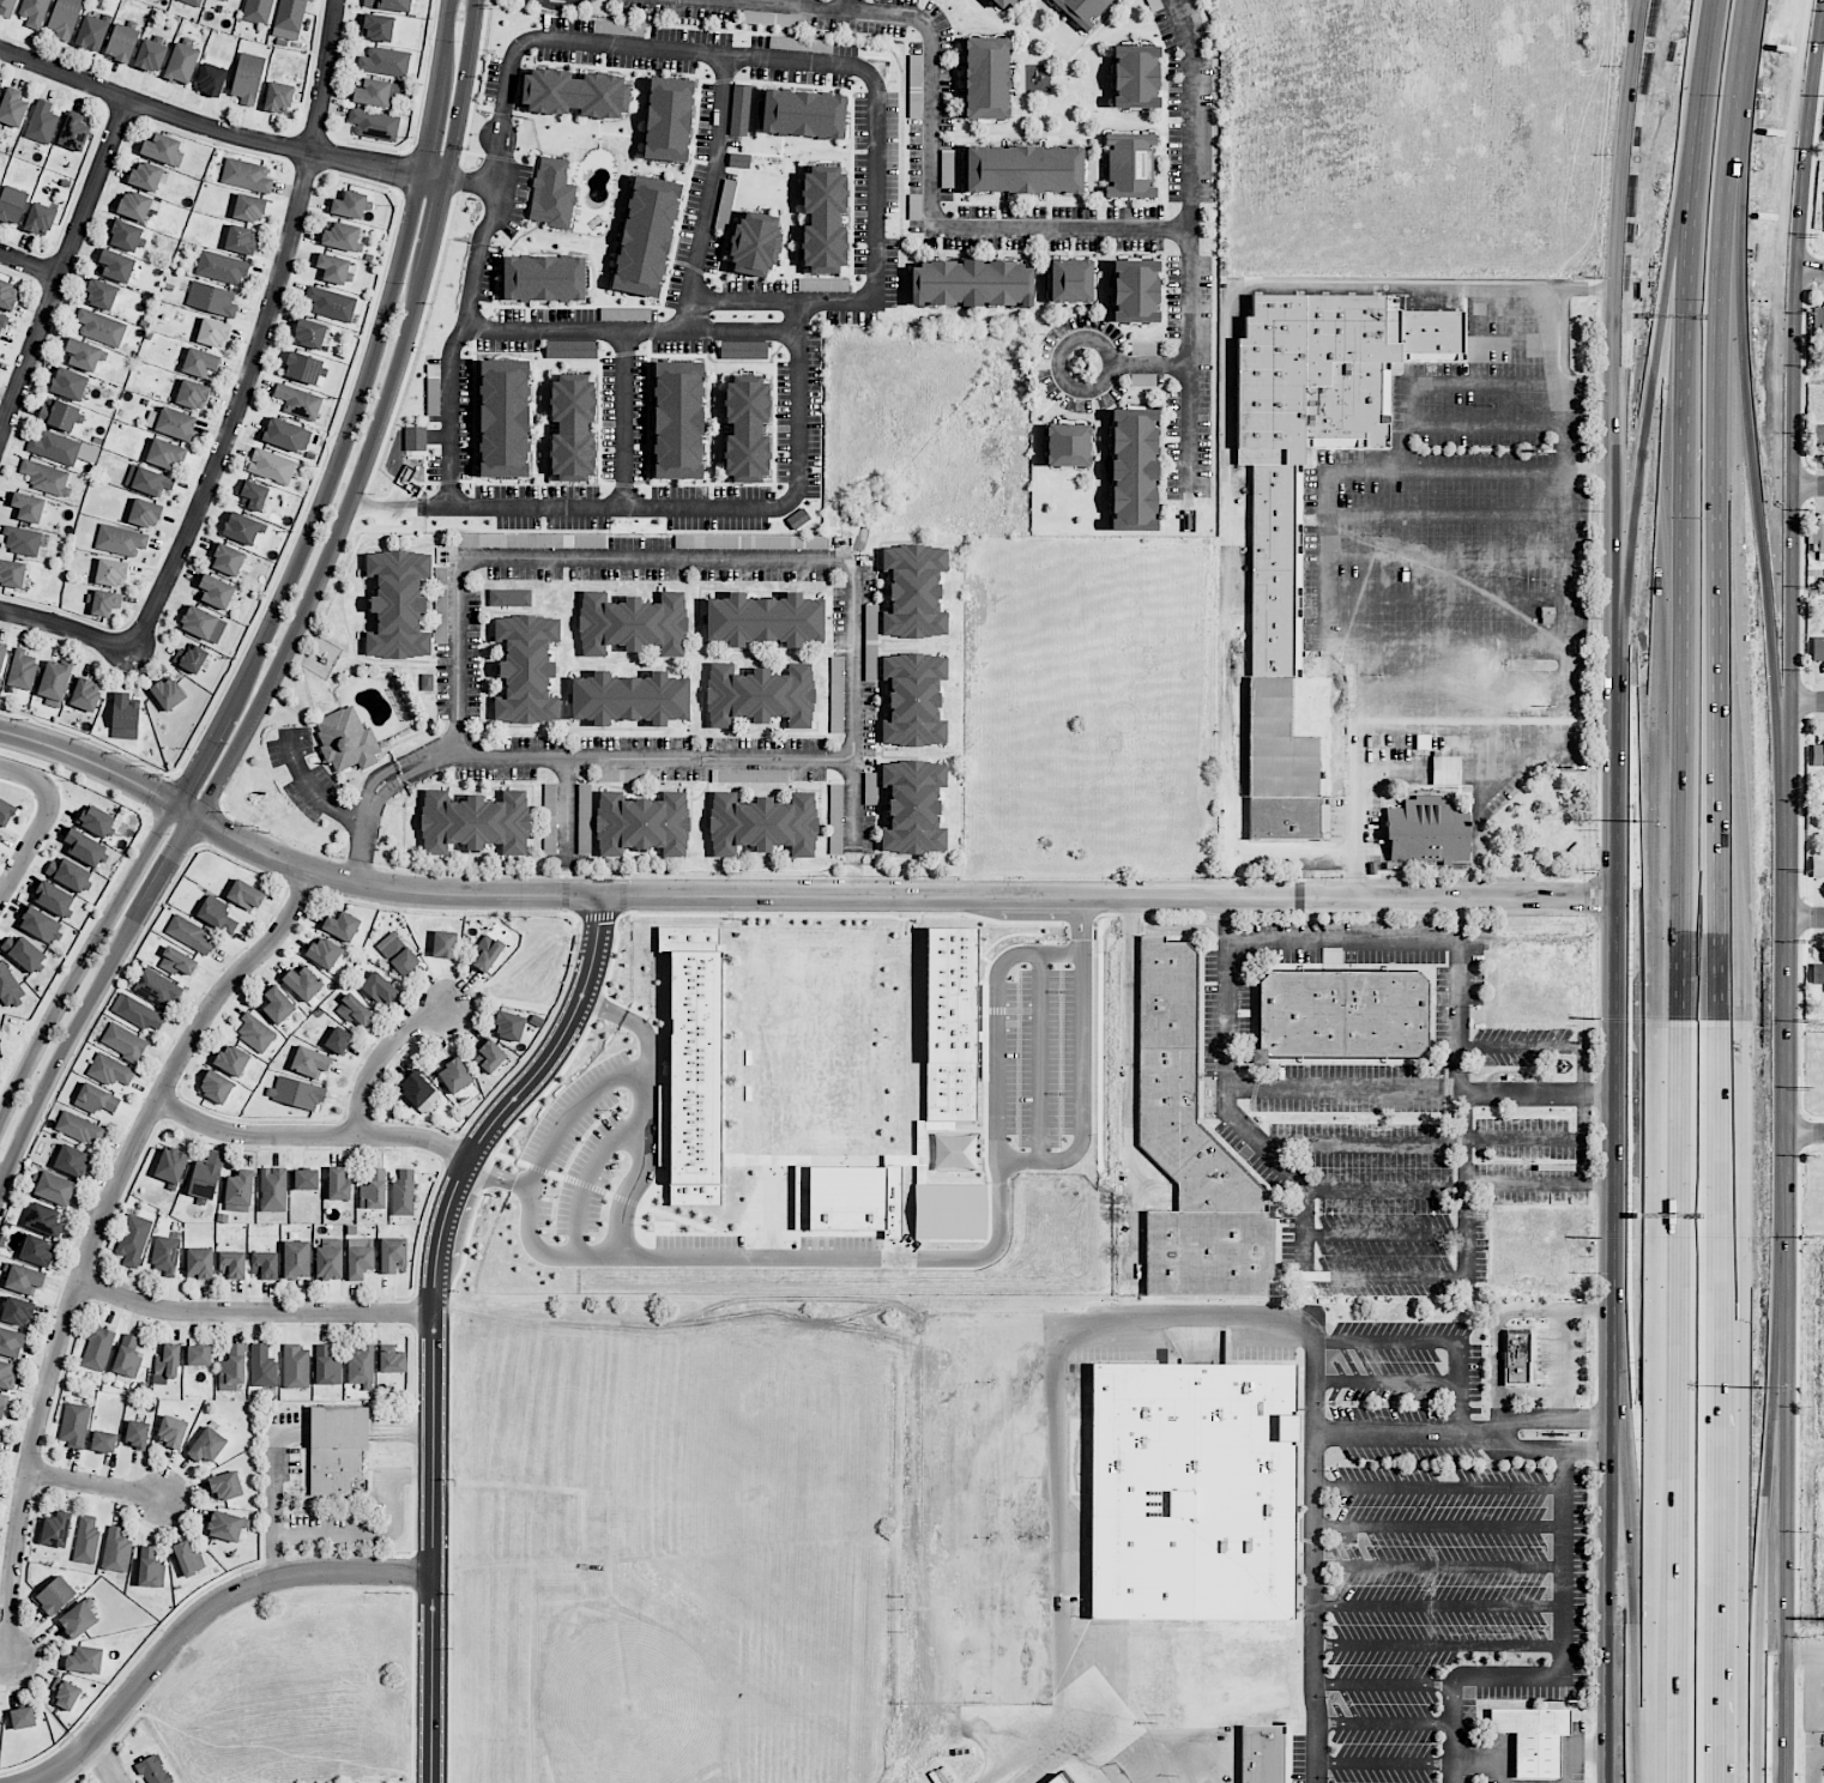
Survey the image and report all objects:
building: (193, 2)
road: (850, 4)
building: (1003, 4)
building: (388, 5)
building: (7, 6)
road: (1642, 8)
road: (1645, 8)
building: (1082, 10)
building: (256, 11)
building: (34, 12)
building: (65, 18)
building: (289, 19)
building: (378, 28)
building: (91, 32)
street lamp: (458, 41)
building: (121, 43)
road: (445, 44)
building: (150, 55)
building: (385, 61)
building: (181, 62)
building: (1135, 77)
building: (247, 78)
building: (986, 78)
building: (211, 79)
building: (914, 80)
building: (0, 85)
road: (459, 90)
building: (376, 92)
building: (575, 93)
building: (278, 97)
building: (12, 108)
building: (739, 109)
building: (803, 114)
building: (668, 119)
building: (42, 122)
building: (374, 123)
road: (206, 126)
building: (73, 132)
road: (430, 133)
building: (163, 150)
street lamp: (441, 151)
building: (738, 161)
road: (930, 164)
building: (1129, 165)
building: (1023, 169)
road: (495, 173)
building: (145, 175)
building: (246, 175)
road: (431, 179)
building: (551, 193)
road: (877, 195)
building: (12, 204)
building: (134, 205)
building: (349, 205)
building: (249, 207)
road: (488, 214)
building: (40, 219)
building: (823, 219)
road: (431, 226)
building: (125, 235)
building: (340, 236)
building: (646, 236)
building: (241, 240)
building: (755, 243)
road: (1189, 244)
road: (29, 265)
building: (116, 265)
road: (62, 266)
building: (222, 267)
building: (334, 267)
road: (1806, 271)
building: (543, 278)
building: (1070, 280)
street lamp: (404, 283)
building: (971, 283)
building: (1135, 291)
road: (1594, 291)
building: (101, 294)
building: (8, 295)
building: (211, 298)
building: (331, 303)
building: (2, 321)
building: (1818, 322)
road: (1625, 326)
building: (101, 327)
road: (579, 327)
building: (213, 333)
building: (309, 333)
road: (261, 336)
building: (1430, 336)
road: (1565, 339)
building: (572, 349)
building: (743, 350)
road: (1062, 350)
building: (84, 355)
building: (199, 362)
road: (1149, 365)
building: (304, 368)
building: (1312, 375)
building: (68, 383)
building: (192, 394)
building: (298, 401)
street lamp: (369, 403)
building: (59, 415)
road: (624, 417)
building: (503, 418)
building: (678, 419)
building: (171, 423)
building: (572, 427)
building: (747, 428)
road: (1227, 428)
building: (286, 435)
building: (1818, 435)
building: (415, 439)
building: (1068, 445)
building: (60, 447)
road: (343, 452)
building: (164, 453)
building: (271, 466)
building: (1134, 469)
road: (1342, 470)
building: (46, 478)
building: (149, 480)
road: (1802, 486)
building: (253, 496)
road: (1753, 502)
building: (28, 507)
road: (437, 507)
road: (582, 507)
road: (385, 508)
building: (145, 513)
road: (1648, 513)
road: (1685, 513)
street lamp: (326, 516)
building: (1275, 518)
building: (241, 528)
building: (1817, 537)
building: (22, 540)
building: (120, 540)
road: (326, 551)
building: (228, 560)
road: (657, 567)
building: (110, 572)
building: (12, 573)
building: (914, 591)
building: (216, 592)
building: (509, 597)
building: (441, 598)
building: (104, 603)
building: (398, 604)
building: (765, 619)
street lamp: (283, 621)
building: (199, 622)
building: (1274, 622)
building: (633, 623)
road: (66, 625)
building: (1818, 649)
road: (1563, 652)
building: (2, 655)
building: (191, 658)
road: (458, 661)
building: (526, 669)
building: (22, 670)
building: (836, 681)
building: (54, 682)
building: (168, 694)
building: (86, 695)
building: (760, 695)
building: (629, 697)
building: (913, 700)
road: (1801, 702)
road: (1780, 707)
building: (125, 717)
street lamp: (28, 719)
road: (854, 730)
building: (1276, 732)
road: (84, 738)
building: (348, 741)
street lamp: (227, 743)
street lamp: (120, 754)
building: (1817, 754)
road: (626, 757)
road: (200, 760)
road: (90, 762)
road: (181, 766)
road: (1415, 768)
road: (25, 774)
building: (604, 774)
road: (164, 776)
road: (74, 779)
road: (55, 781)
road: (58, 786)
road: (310, 790)
road: (46, 792)
road: (155, 794)
road: (34, 797)
street lamp: (30, 800)
building: (913, 806)
road: (566, 810)
building: (6, 811)
road: (185, 811)
road: (146, 812)
building: (1286, 815)
building: (550, 818)
building: (584, 818)
building: (96, 820)
building: (475, 822)
road: (367, 823)
building: (642, 823)
building: (762, 824)
building: (1424, 830)
road: (1482, 833)
building: (0, 834)
street lamp: (168, 834)
road: (135, 840)
road: (25, 844)
building: (85, 847)
road: (168, 864)
building: (1817, 866)
building: (67, 872)
road: (1722, 890)
building: (246, 895)
road: (899, 895)
building: (53, 899)
building: (216, 914)
road: (1801, 918)
building: (41, 925)
building: (342, 925)
building: (188, 933)
street lamp: (109, 936)
road: (1345, 939)
building: (443, 944)
building: (23, 951)
building: (324, 951)
building: (487, 951)
building: (397, 954)
road: (83, 961)
building: (177, 962)
building: (1817, 973)
building: (303, 983)
building: (8, 986)
building: (157, 987)
building: (379, 989)
road: (1456, 997)
building: (277, 1005)
building: (354, 1010)
building: (138, 1013)
building: (1342, 1016)
building: (950, 1023)
building: (508, 1026)
road: (1618, 1032)
building: (254, 1033)
road: (1127, 1034)
street lamp: (50, 1040)
building: (338, 1040)
building: (123, 1041)
road: (65, 1045)
road: (380, 1054)
building: (491, 1056)
building: (231, 1059)
building: (309, 1062)
building: (694, 1063)
building: (109, 1070)
building: (454, 1076)
building: (216, 1087)
building: (418, 1090)
road: (1329, 1092)
building: (296, 1093)
road: (1083, 1096)
building: (96, 1099)
road: (645, 1111)
road: (569, 1114)
road: (1461, 1118)
building: (79, 1128)
road: (312, 1134)
road: (1801, 1134)
road: (1445, 1142)
building: (1194, 1148)
building: (71, 1160)
building: (170, 1166)
road: (491, 1169)
building: (206, 1175)
road: (584, 1175)
building: (306, 1179)
building: (339, 1183)
building: (55, 1189)
building: (273, 1190)
building: (373, 1190)
building: (238, 1191)
building: (403, 1193)
building: (852, 1202)
road: (443, 1210)
building: (950, 1211)
building: (43, 1219)
road: (1396, 1234)
road: (93, 1239)
building: (133, 1240)
building: (37, 1250)
building: (392, 1253)
building: (165, 1255)
building: (358, 1258)
road: (944, 1258)
building: (296, 1259)
building: (199, 1263)
building: (231, 1264)
building: (265, 1264)
building: (24, 1280)
building: (18, 1311)
road: (253, 1311)
road: (1168, 1325)
street lamp: (410, 1335)
road: (1563, 1335)
road: (1425, 1340)
building: (11, 1342)
building: (97, 1348)
building: (198, 1355)
building: (127, 1356)
building: (1516, 1359)
building: (168, 1361)
building: (392, 1362)
building: (262, 1366)
building: (326, 1366)
building: (232, 1367)
building: (296, 1367)
building: (362, 1367)
building: (7, 1374)
road: (1387, 1383)
building: (2, 1404)
road: (1683, 1404)
road: (1466, 1415)
building: (74, 1424)
road: (401, 1428)
building: (171, 1432)
building: (137, 1434)
building: (0, 1437)
building: (103, 1441)
building: (206, 1445)
road: (1466, 1445)
parking lot: (282, 1447)
building: (336, 1449)
flagpole: (393, 1455)
street lamp: (453, 1479)
road: (93, 1483)
building: (225, 1486)
parking lot: (387, 1487)
road: (273, 1488)
road: (1439, 1489)
building: (1190, 1492)
road: (382, 1493)
road: (1439, 1524)
building: (224, 1525)
building: (56, 1529)
parking lot: (330, 1529)
road: (380, 1536)
building: (86, 1540)
building: (116, 1551)
street lamp: (409, 1552)
building: (188, 1558)
road: (1438, 1565)
street lamp: (253, 1567)
building: (150, 1569)
road: (404, 1572)
road: (254, 1583)
street lamp: (452, 1594)
building: (55, 1596)
road: (1764, 1600)
road: (1777, 1600)
road: (1438, 1603)
road: (1639, 1604)
road: (1618, 1606)
building: (78, 1619)
street lamp: (162, 1630)
road: (1438, 1644)
road: (1800, 1656)
building: (85, 1660)
road: (1564, 1669)
road: (431, 1678)
road: (1382, 1682)
building: (66, 1694)
building: (23, 1717)
street lamp: (87, 1718)
road: (1382, 1722)
building: (1532, 1736)
road: (81, 1748)
road: (1577, 1749)
building: (1261, 1753)
road: (1074, 1759)
road: (104, 1760)
road: (1382, 1761)
road: (1485, 1763)
building: (153, 1770)
building: (1053, 1778)

